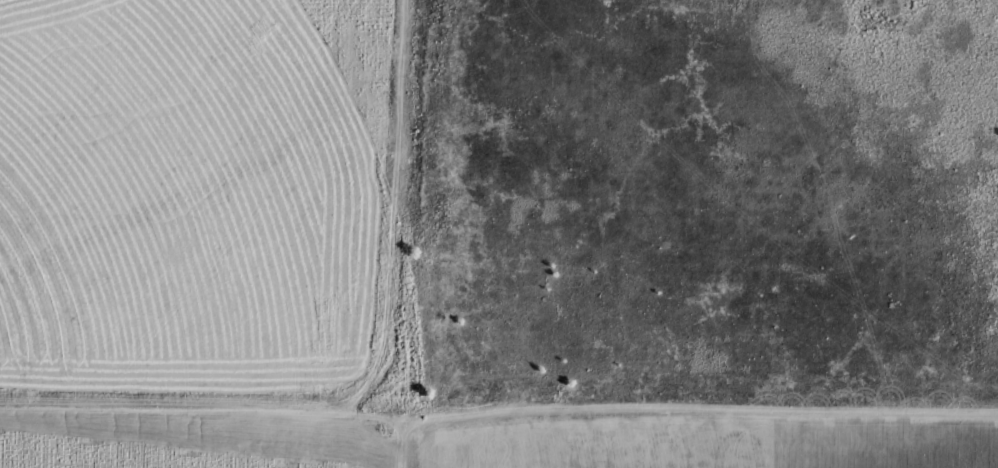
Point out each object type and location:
road: (498, 426)
road: (411, 447)

